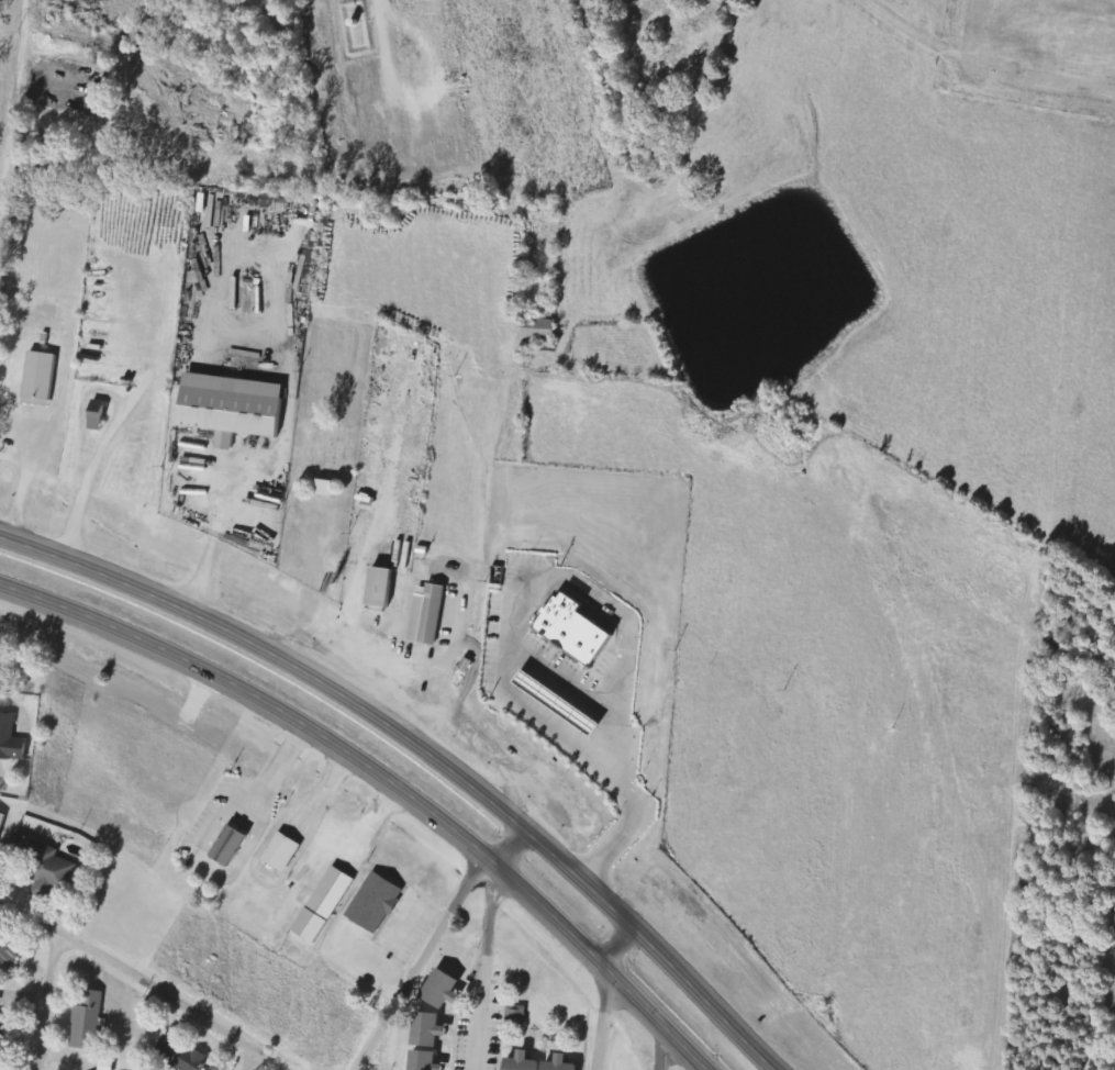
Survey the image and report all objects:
road: (14, 136)
building: (38, 379)
building: (230, 408)
building: (324, 489)
building: (377, 589)
road: (509, 602)
building: (425, 615)
building: (569, 631)
building: (554, 704)
building: (12, 739)
road: (421, 745)
road: (382, 782)
building: (2, 827)
building: (235, 846)
road: (505, 848)
building: (286, 851)
building: (59, 871)
building: (378, 902)
building: (327, 904)
road: (421, 967)
road: (145, 982)
building: (448, 988)
road: (607, 994)
building: (1, 995)
road: (46, 1001)
building: (520, 1015)
building: (86, 1028)
building: (433, 1029)
road: (666, 1054)
building: (182, 1055)
building: (428, 1060)
building: (545, 1063)

